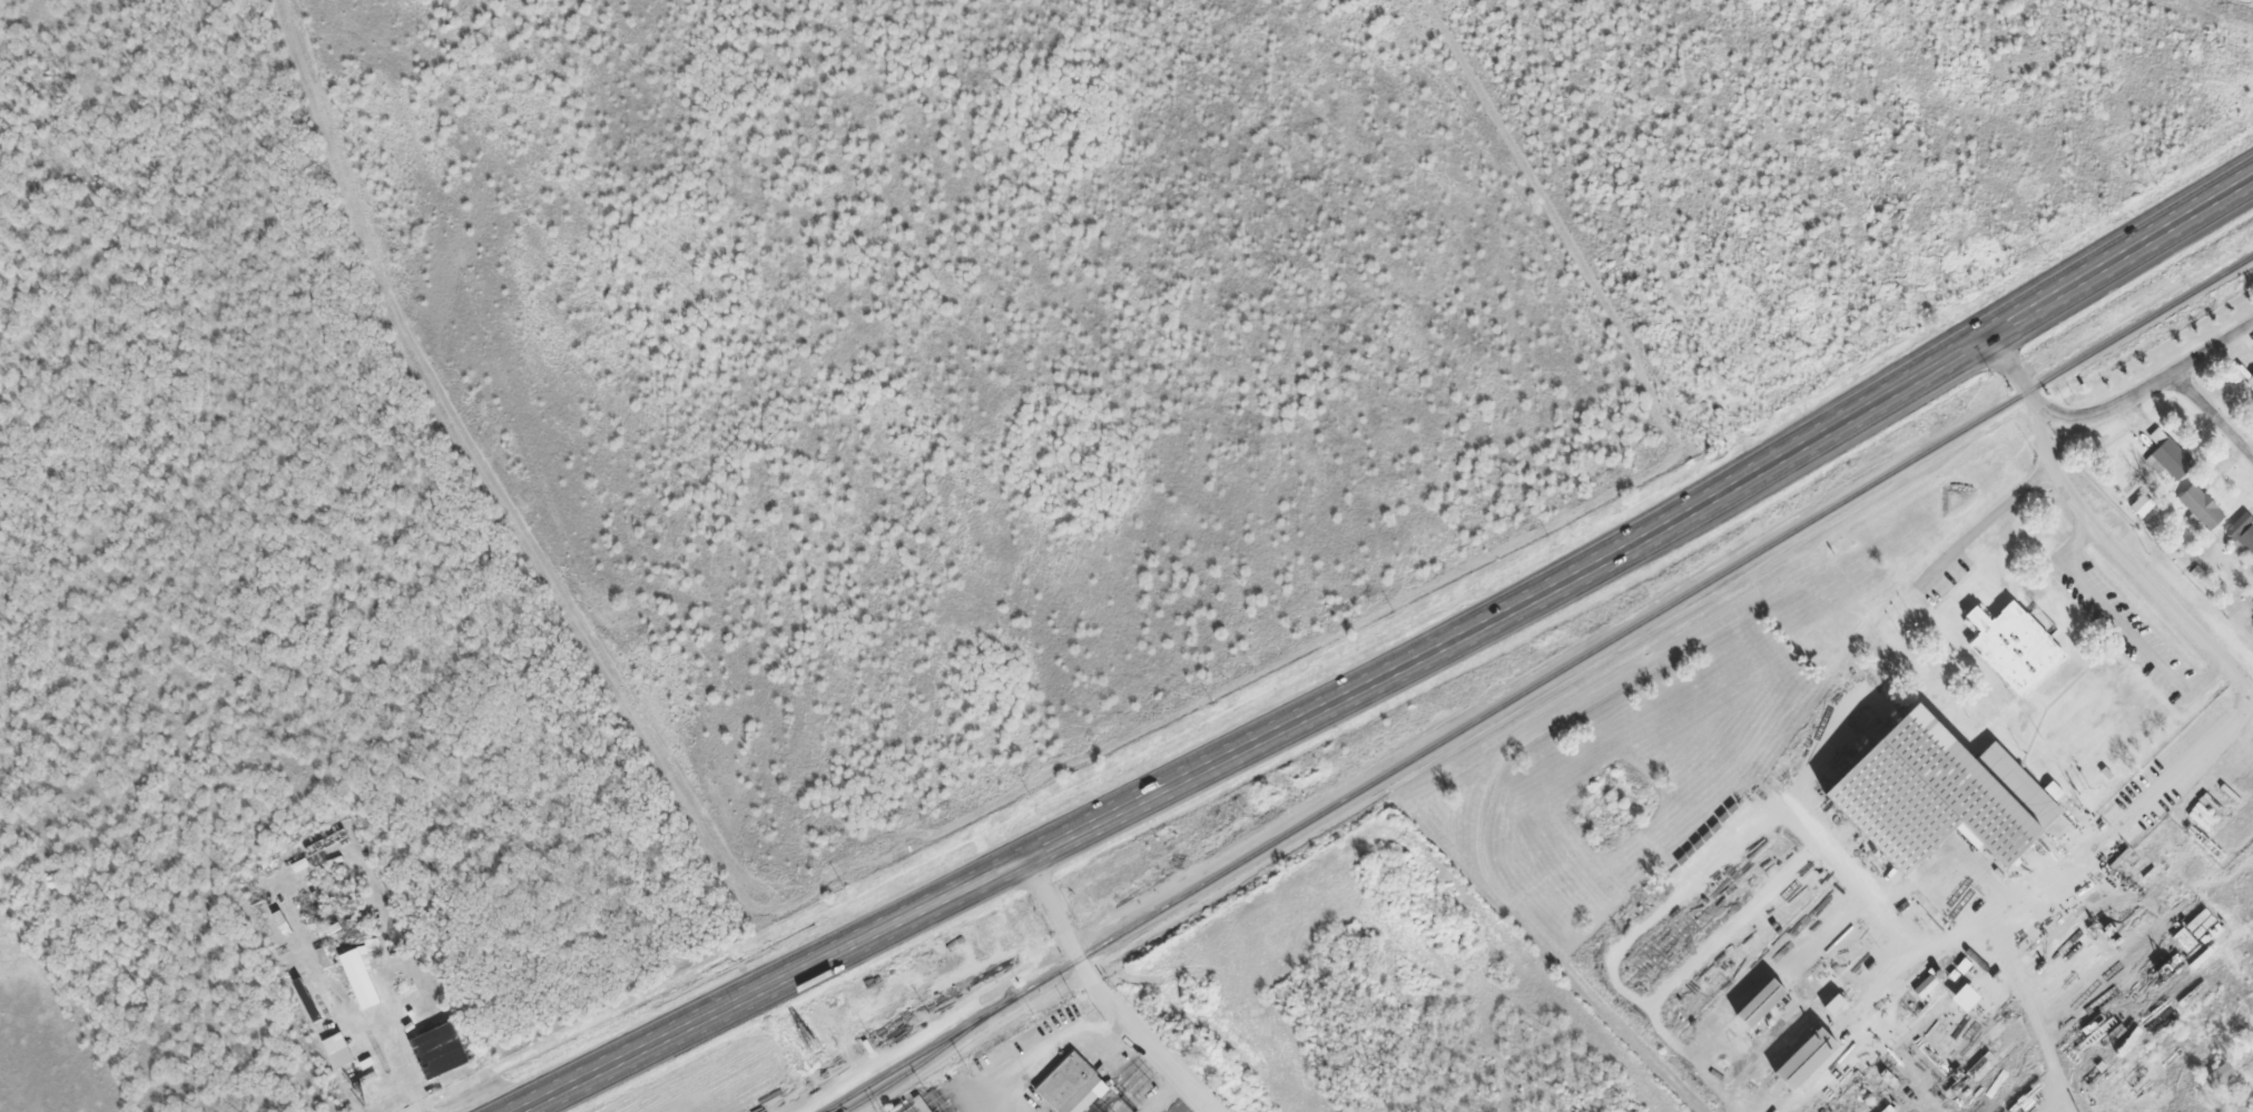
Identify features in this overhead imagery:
road: (2223, 11)
building: (2250, 378)
road: (2114, 404)
road: (2213, 414)
building: (2168, 457)
building: (2144, 503)
building: (2203, 503)
road: (1994, 515)
building: (2241, 532)
building: (2196, 569)
building: (2011, 648)
road: (1397, 666)
road: (2240, 677)
railway: (1541, 683)
building: (2050, 790)
building: (1932, 794)
building: (337, 836)
road: (1054, 908)
building: (275, 923)
building: (2195, 933)
building: (322, 954)
building: (361, 971)
building: (1924, 986)
building: (397, 992)
building: (392, 1003)
building: (1755, 1004)
building: (439, 1030)
road: (1147, 1036)
building: (340, 1047)
building: (1801, 1059)
building: (445, 1066)
building: (355, 1071)
building: (2217, 1075)
building: (1070, 1086)
building: (383, 1100)

